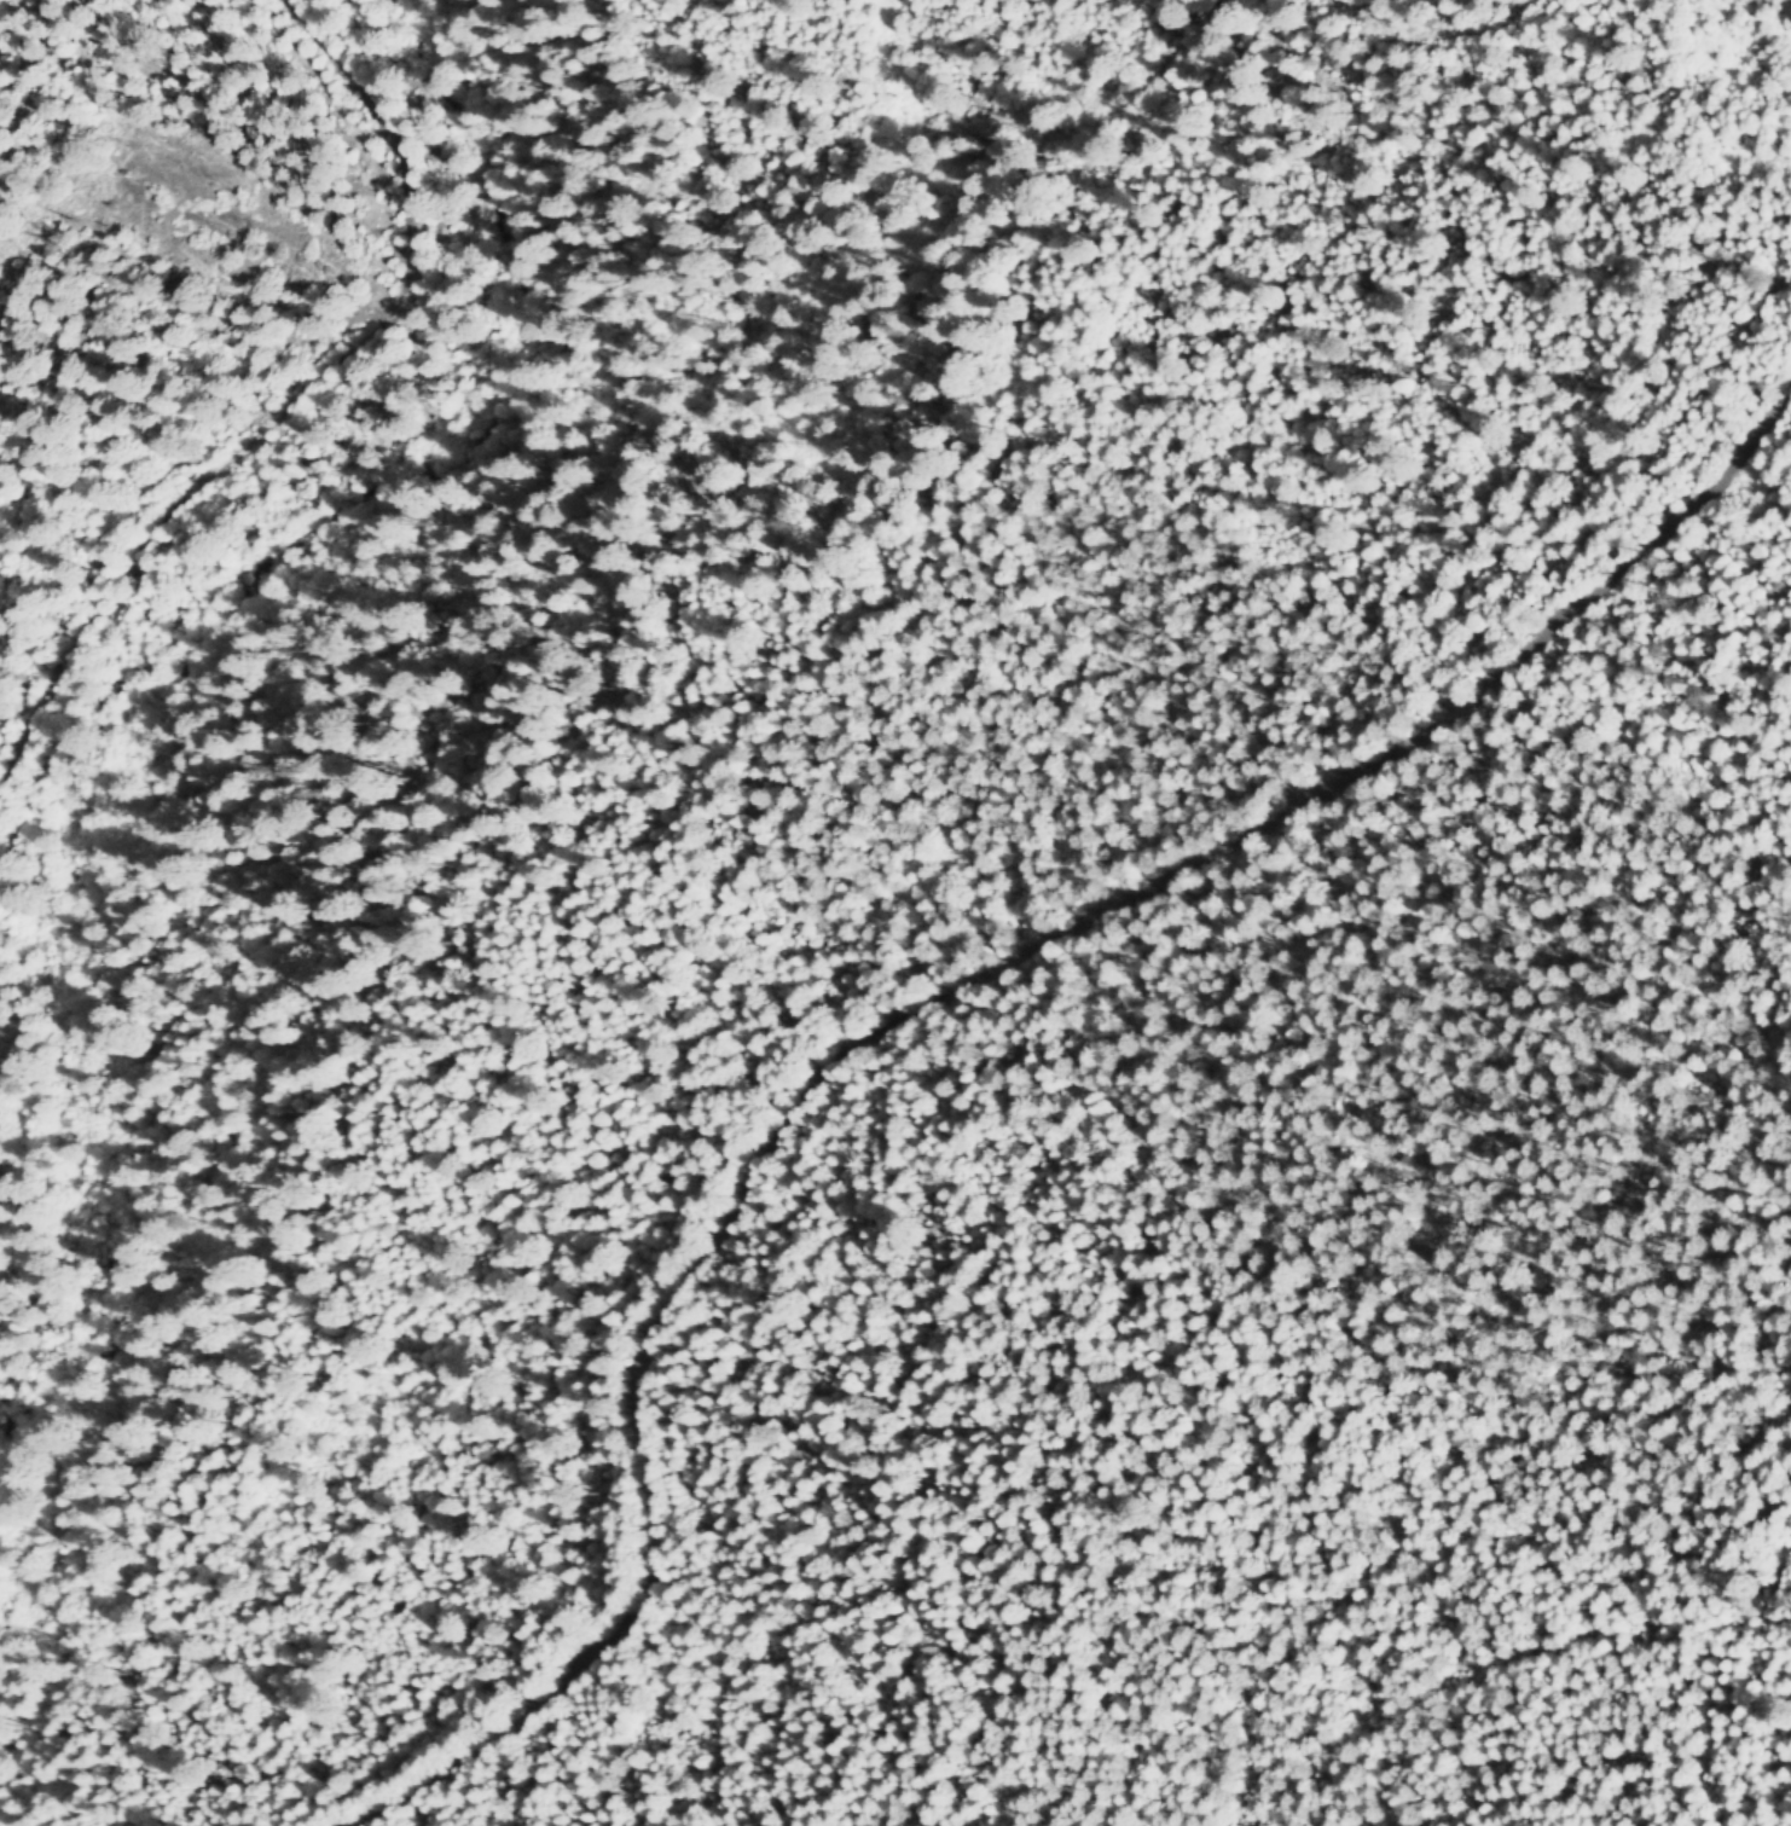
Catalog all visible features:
road: (1783, 19)
road: (1438, 30)
road: (326, 42)
road: (240, 442)
road: (932, 1001)

